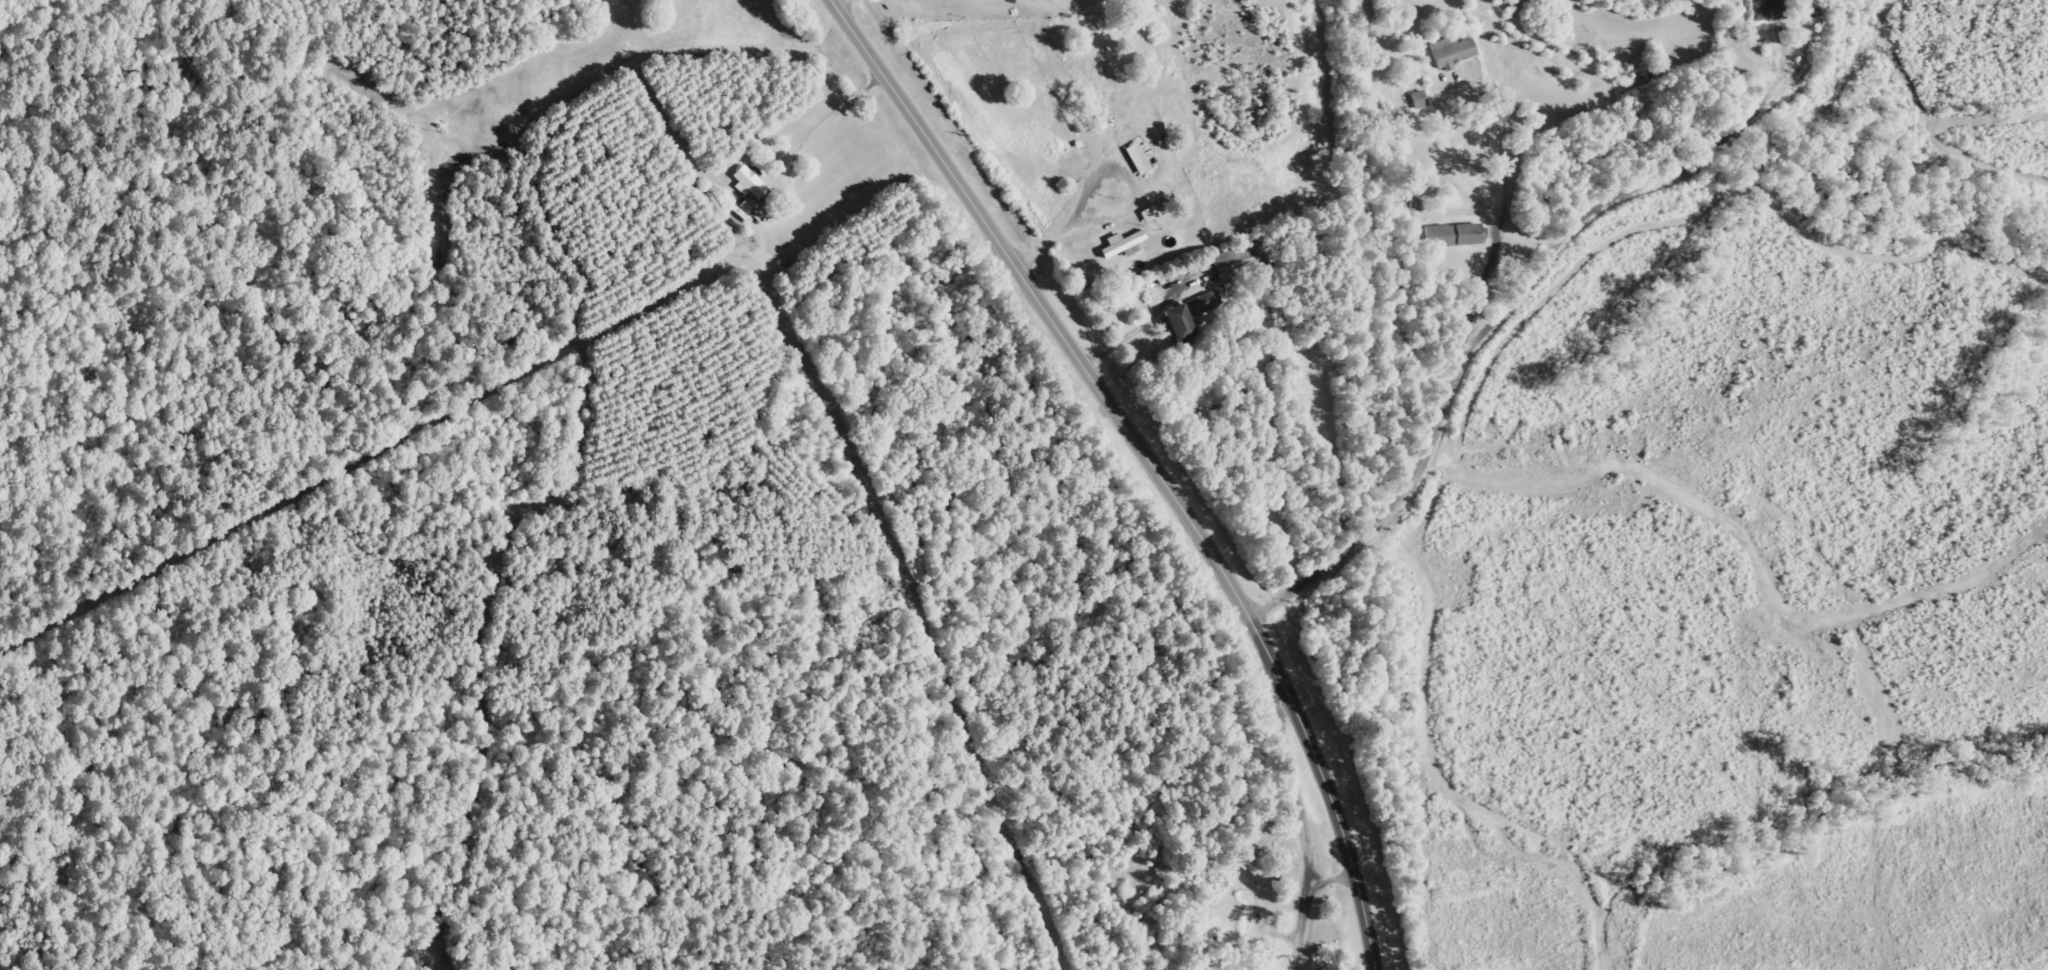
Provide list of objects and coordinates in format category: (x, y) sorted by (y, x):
building: (1770, 10)
building: (1453, 52)
building: (1139, 159)
building: (748, 206)
road: (1622, 207)
building: (1150, 215)
building: (1454, 236)
building: (1124, 245)
building: (1188, 316)
road: (1442, 392)
road: (1148, 461)
road: (1277, 911)

